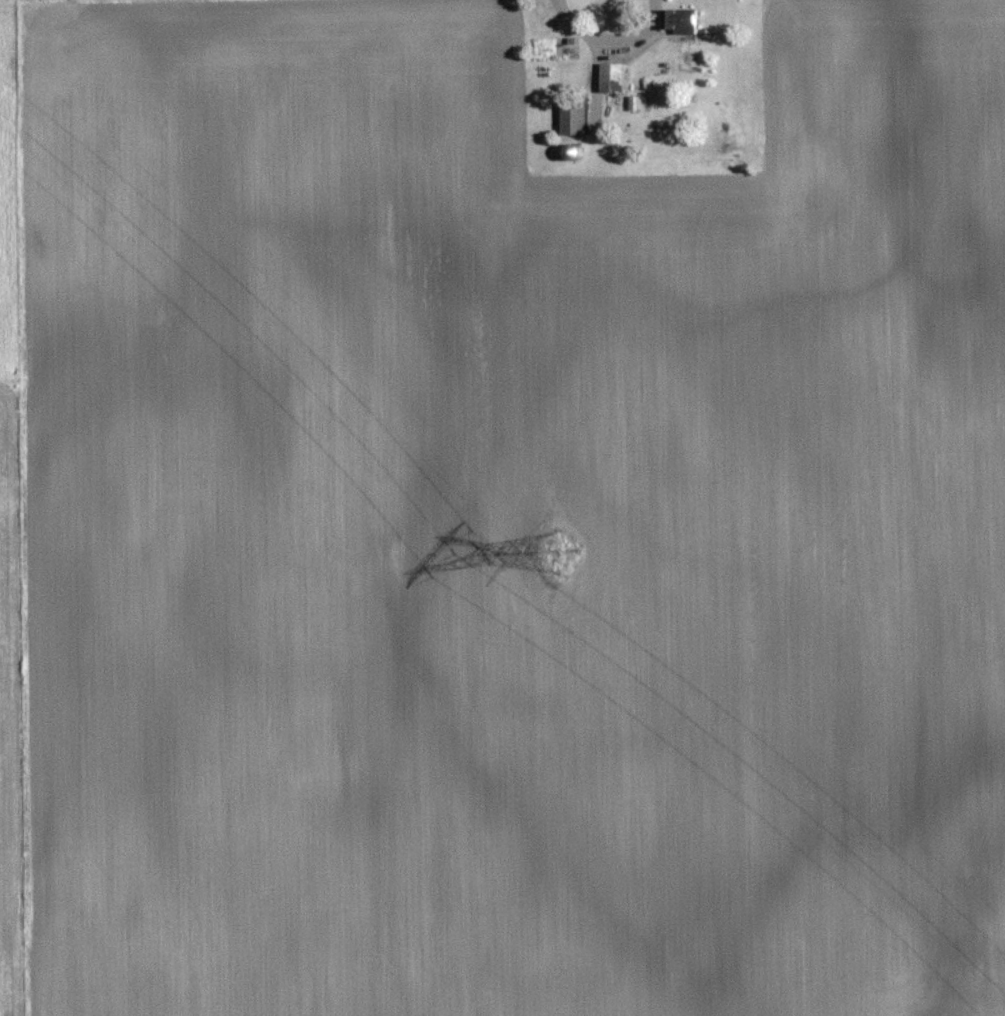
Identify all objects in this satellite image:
building: (682, 22)
building: (614, 78)
building: (575, 118)
building: (577, 152)
power tower: (550, 542)

